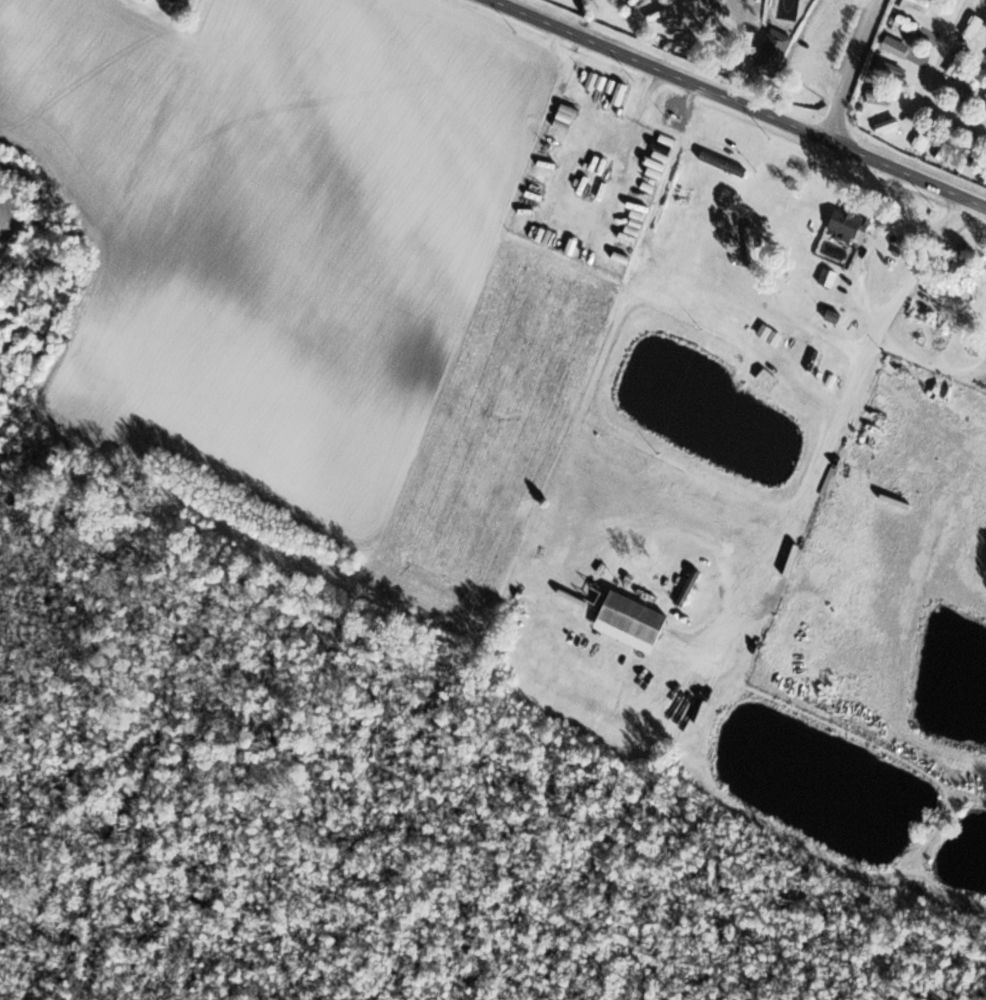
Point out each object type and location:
building: (172, 0)
building: (918, 4)
building: (974, 27)
building: (895, 47)
building: (770, 52)
building: (958, 65)
building: (884, 68)
road: (858, 69)
road: (930, 78)
building: (975, 78)
building: (876, 97)
road: (742, 101)
building: (885, 127)
building: (938, 155)
building: (966, 160)
road: (805, 164)
building: (984, 168)
building: (846, 224)
building: (749, 237)
road: (865, 249)
building: (958, 267)
building: (827, 278)
road: (816, 334)
road: (931, 366)
building: (764, 379)
building: (966, 403)
road: (838, 427)
building: (687, 588)
building: (629, 618)

